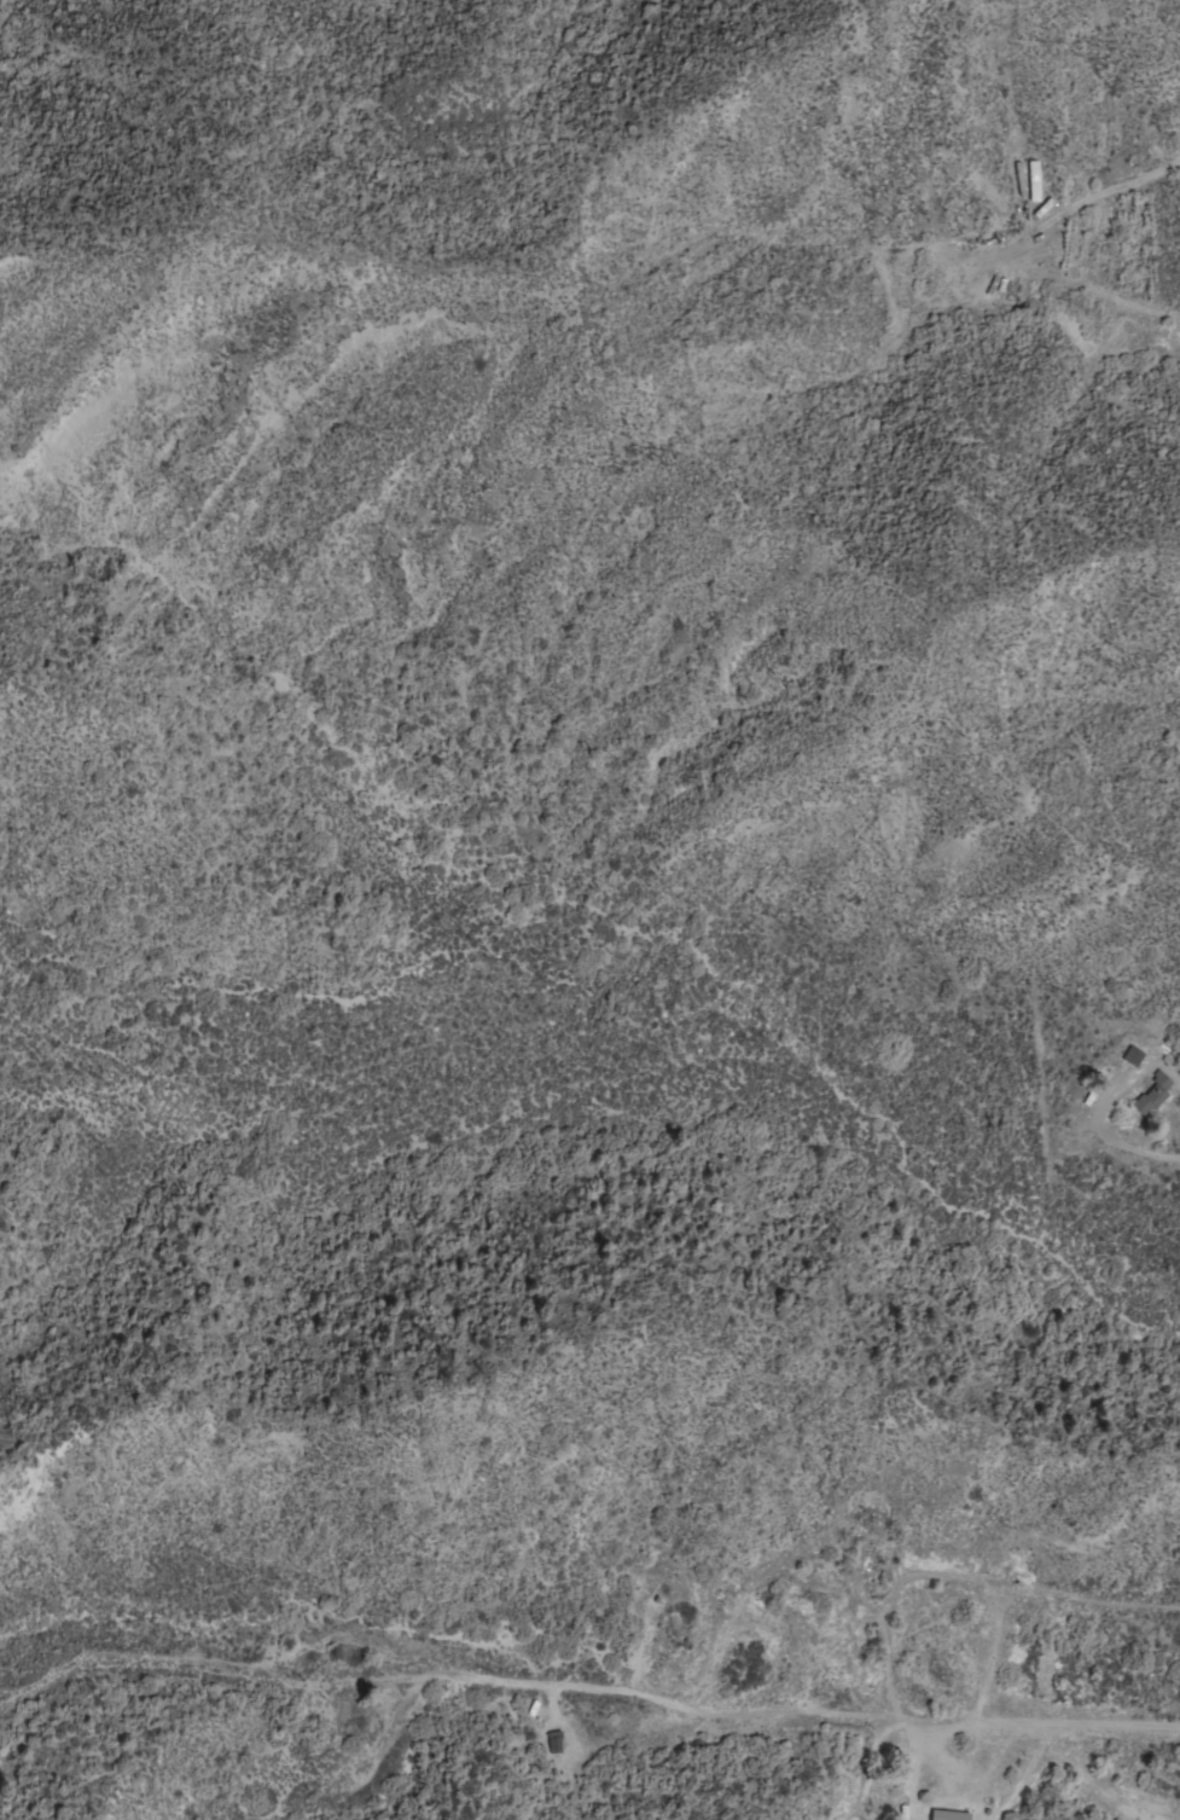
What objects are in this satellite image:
building: (1132, 1056)
road: (1179, 1084)
building: (1151, 1094)
road: (864, 1716)
building: (553, 1741)
building: (949, 1815)

